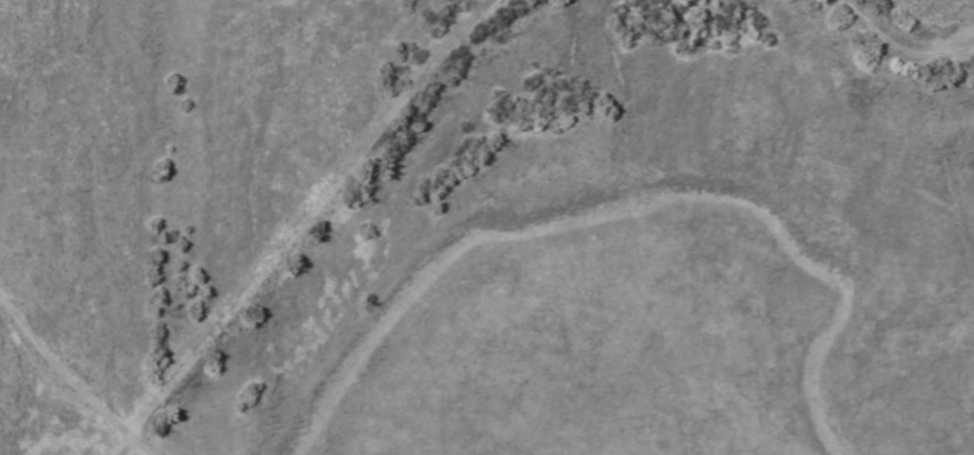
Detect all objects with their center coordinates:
road: (99, 240)

